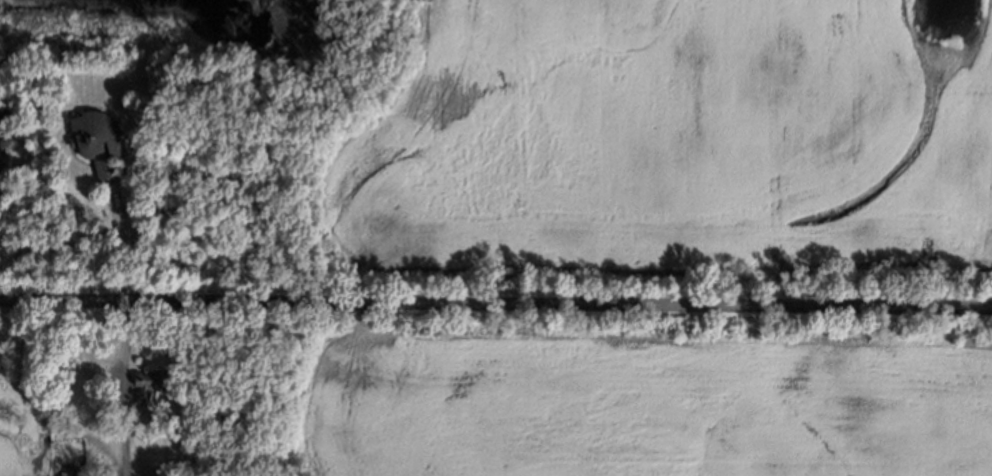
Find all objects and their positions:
building: (94, 137)
crop: (673, 152)
road: (122, 242)
road: (495, 306)
building: (148, 383)
building: (67, 473)

